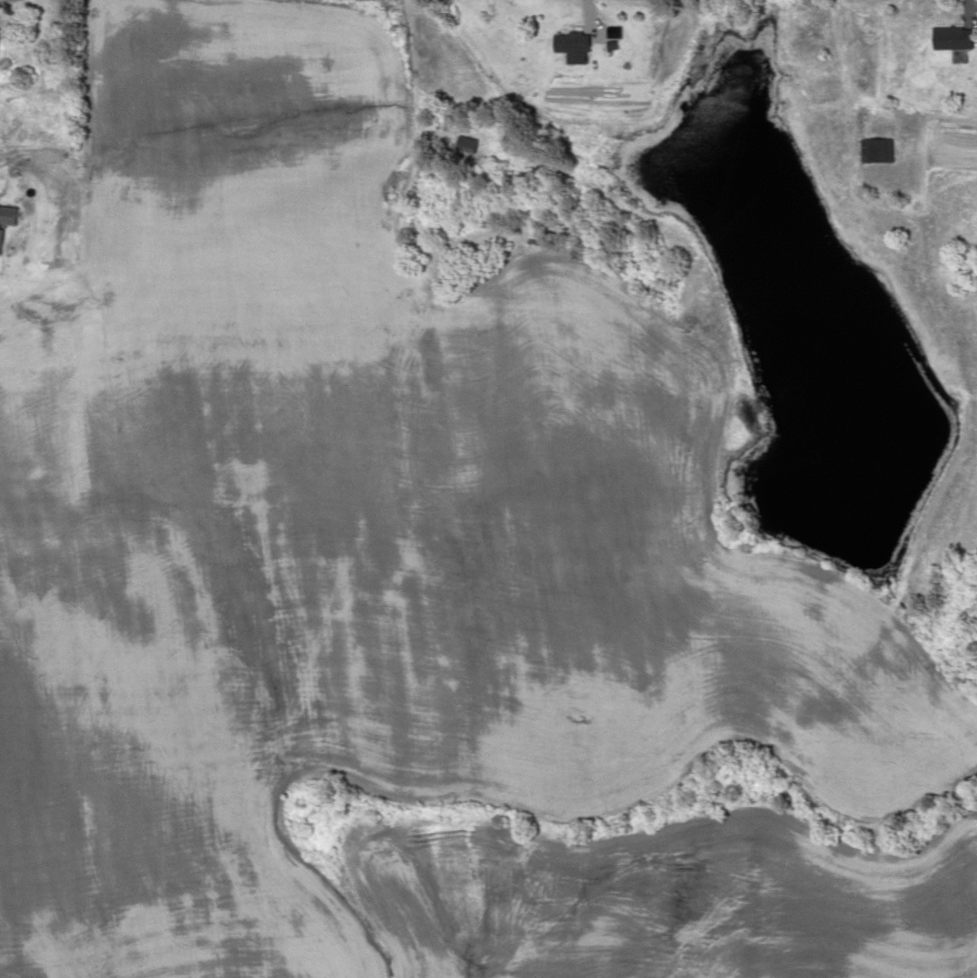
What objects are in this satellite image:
road: (375, 7)
building: (959, 38)
building: (582, 47)
building: (4, 49)
building: (882, 151)

